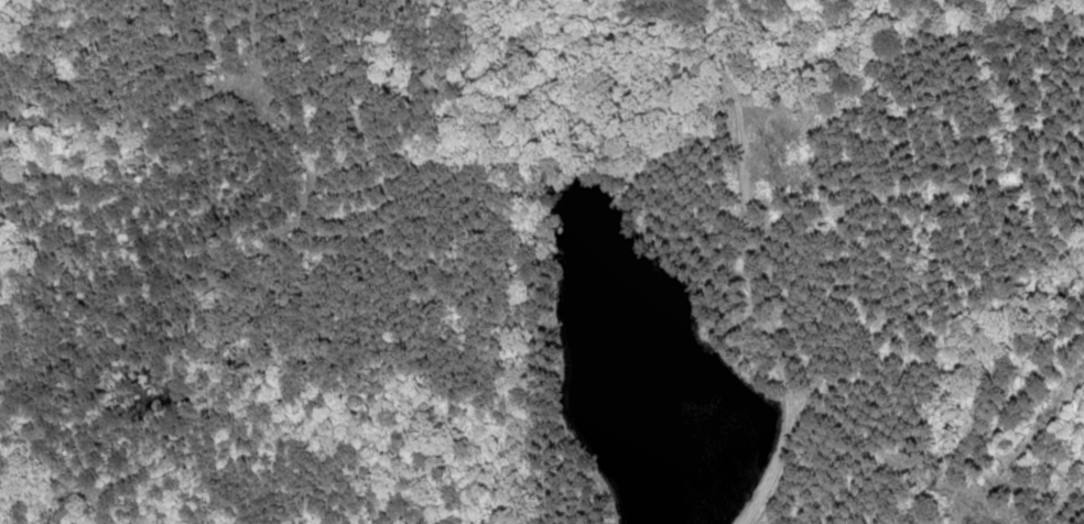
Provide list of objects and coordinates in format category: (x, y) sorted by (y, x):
road: (733, 46)

